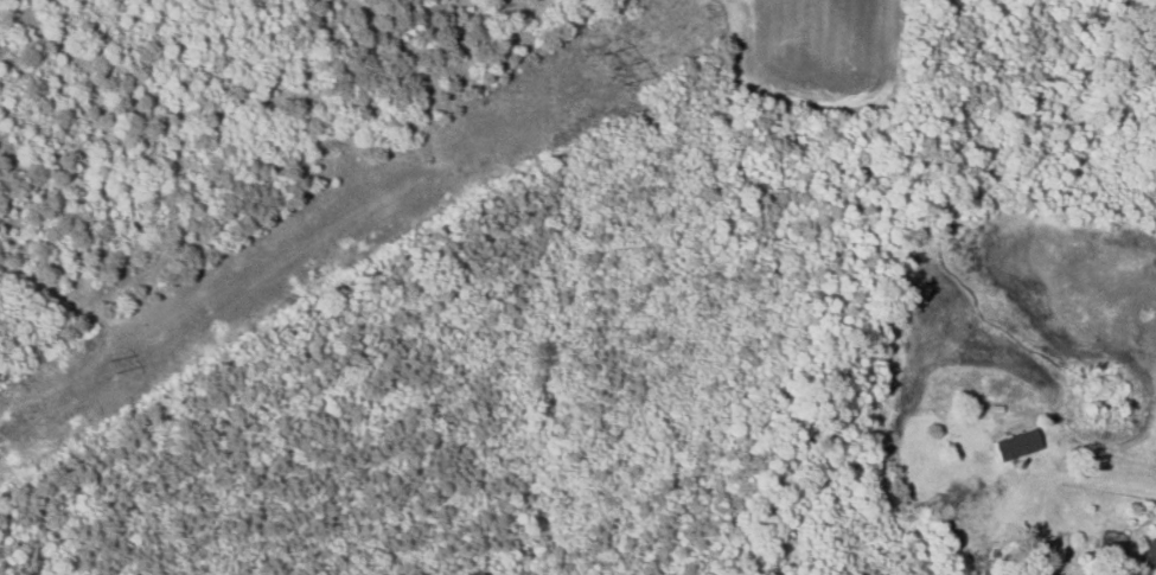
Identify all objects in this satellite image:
power tower: (612, 59)
power tower: (114, 358)
building: (1013, 443)
road: (1096, 477)
building: (1109, 542)
building: (1147, 555)

